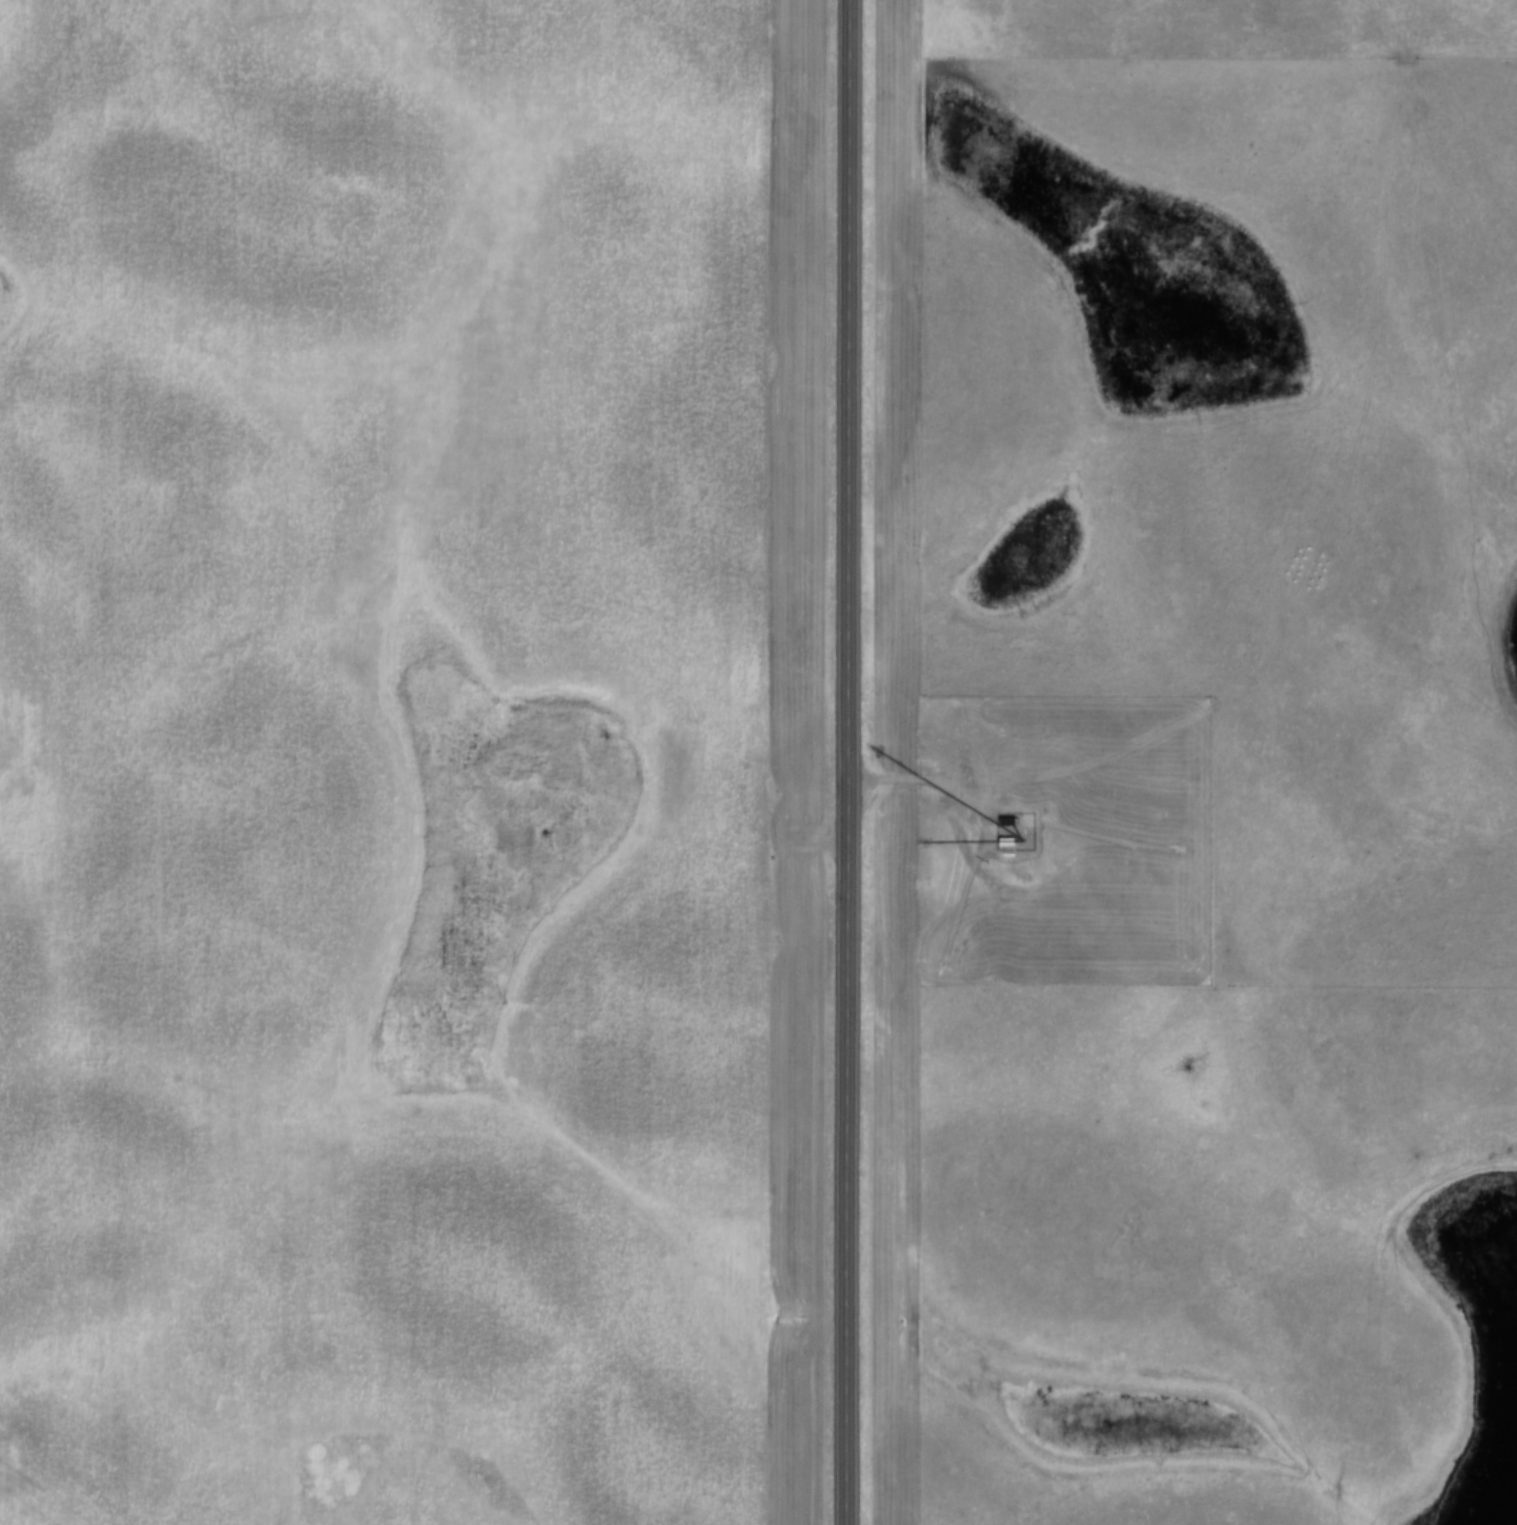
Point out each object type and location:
road: (850, 762)

